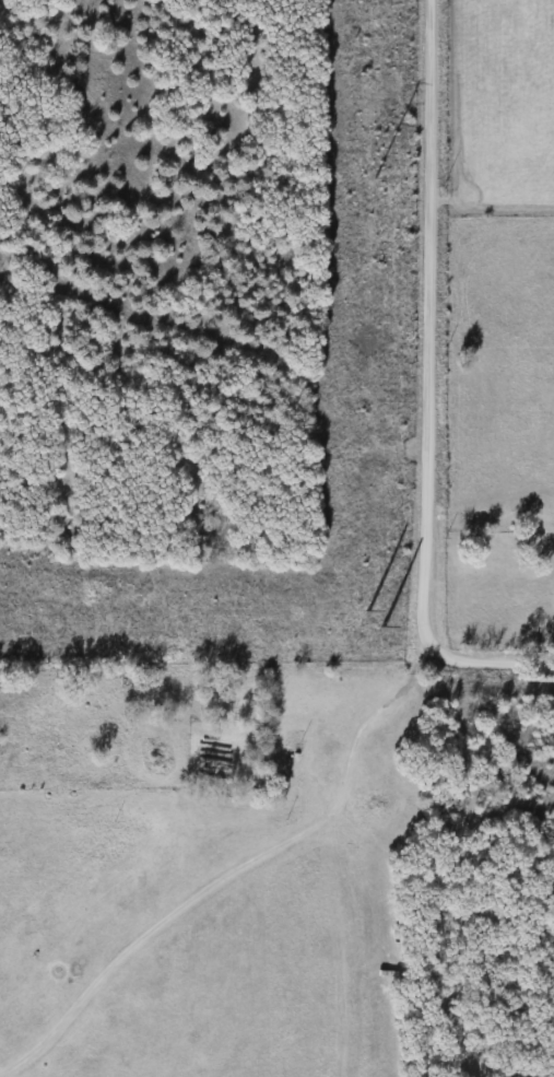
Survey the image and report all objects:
power tower: (373, 179)
road: (431, 387)
power tower: (359, 620)
road: (244, 869)

